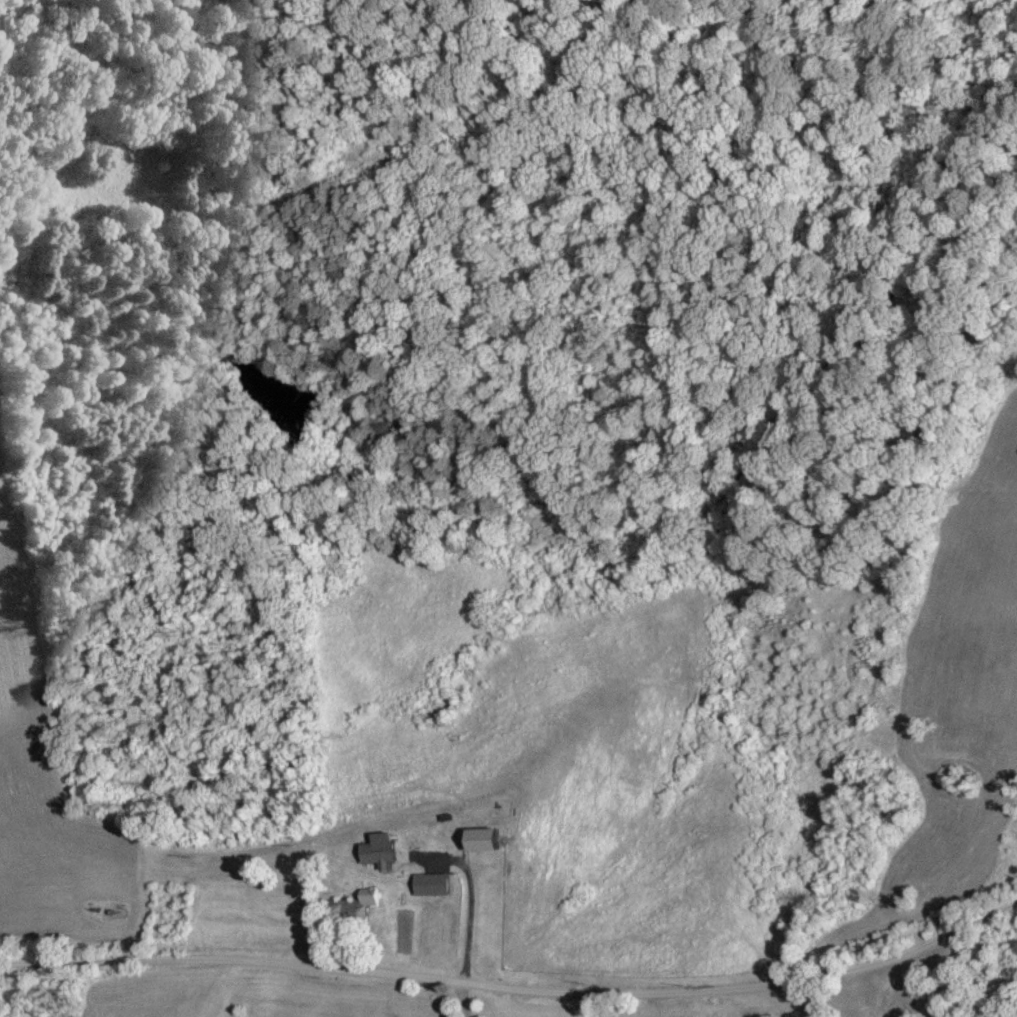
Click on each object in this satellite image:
road: (463, 907)
road: (515, 989)
road: (460, 1000)
road: (795, 1000)

